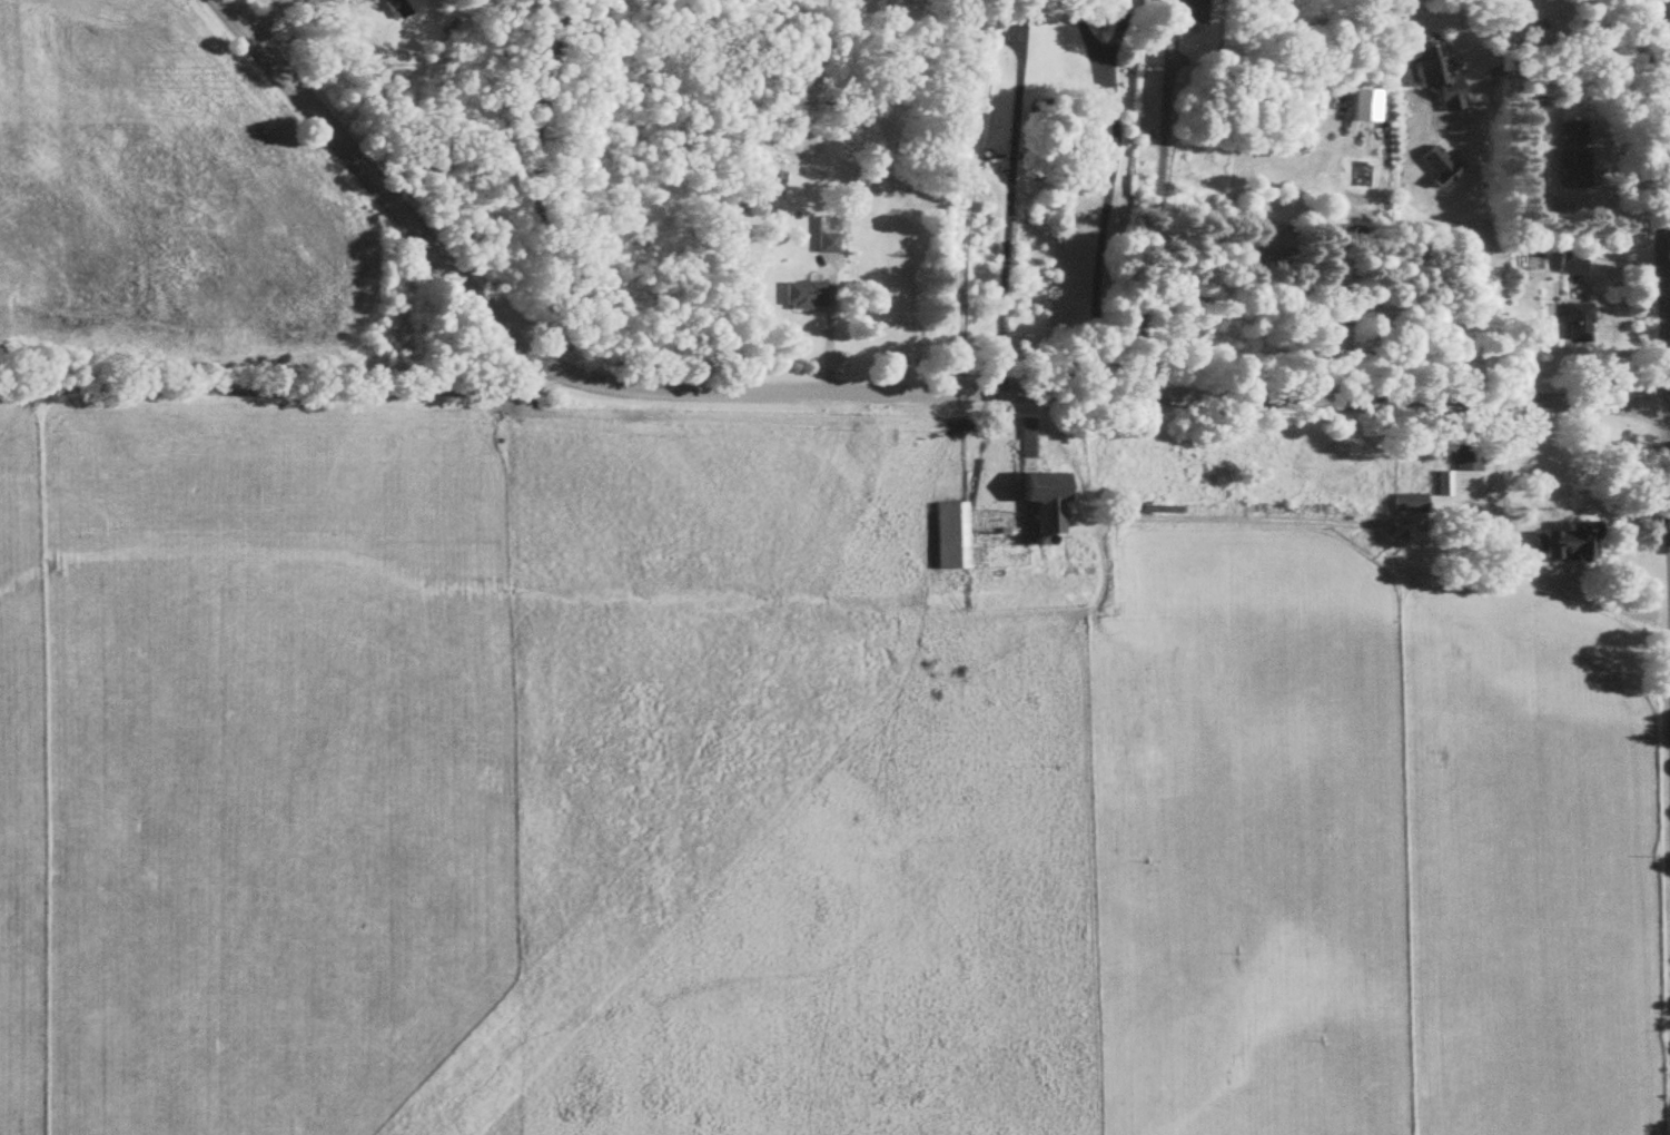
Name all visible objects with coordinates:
road: (237, 6)
road: (268, 14)
road: (1565, 61)
building: (1570, 155)
road: (536, 182)
road: (1106, 196)
road: (1008, 197)
road: (1160, 218)
building: (833, 236)
building: (1258, 246)
building: (1567, 265)
building: (808, 297)
road: (1345, 308)
road: (1667, 318)
building: (1573, 324)
road: (283, 381)
road: (857, 392)
building: (1026, 438)
building: (1441, 484)
building: (1114, 495)
building: (1406, 503)
building: (1037, 504)
building: (1483, 520)
building: (948, 536)
building: (1413, 540)
building: (1561, 544)
crop: (774, 792)

